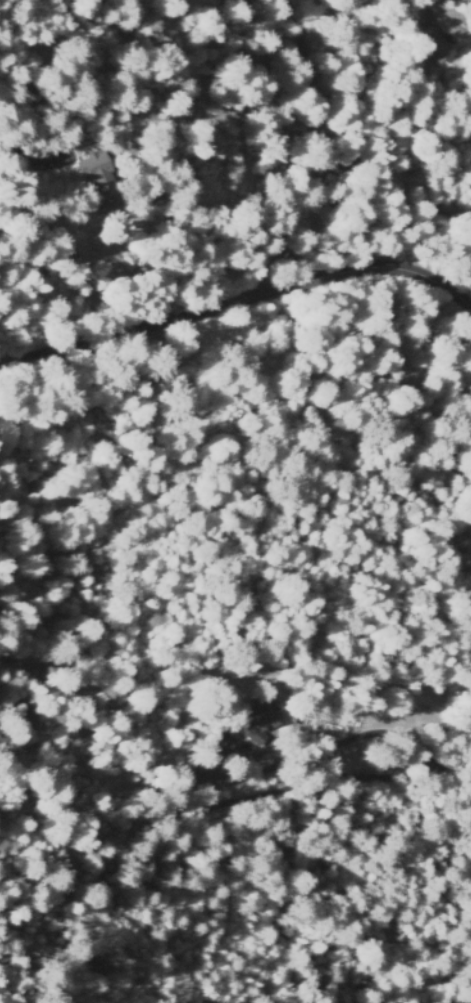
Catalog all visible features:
building: (440, 47)
road: (443, 136)
building: (101, 178)
road: (236, 311)
building: (411, 697)
building: (260, 720)
building: (224, 750)

